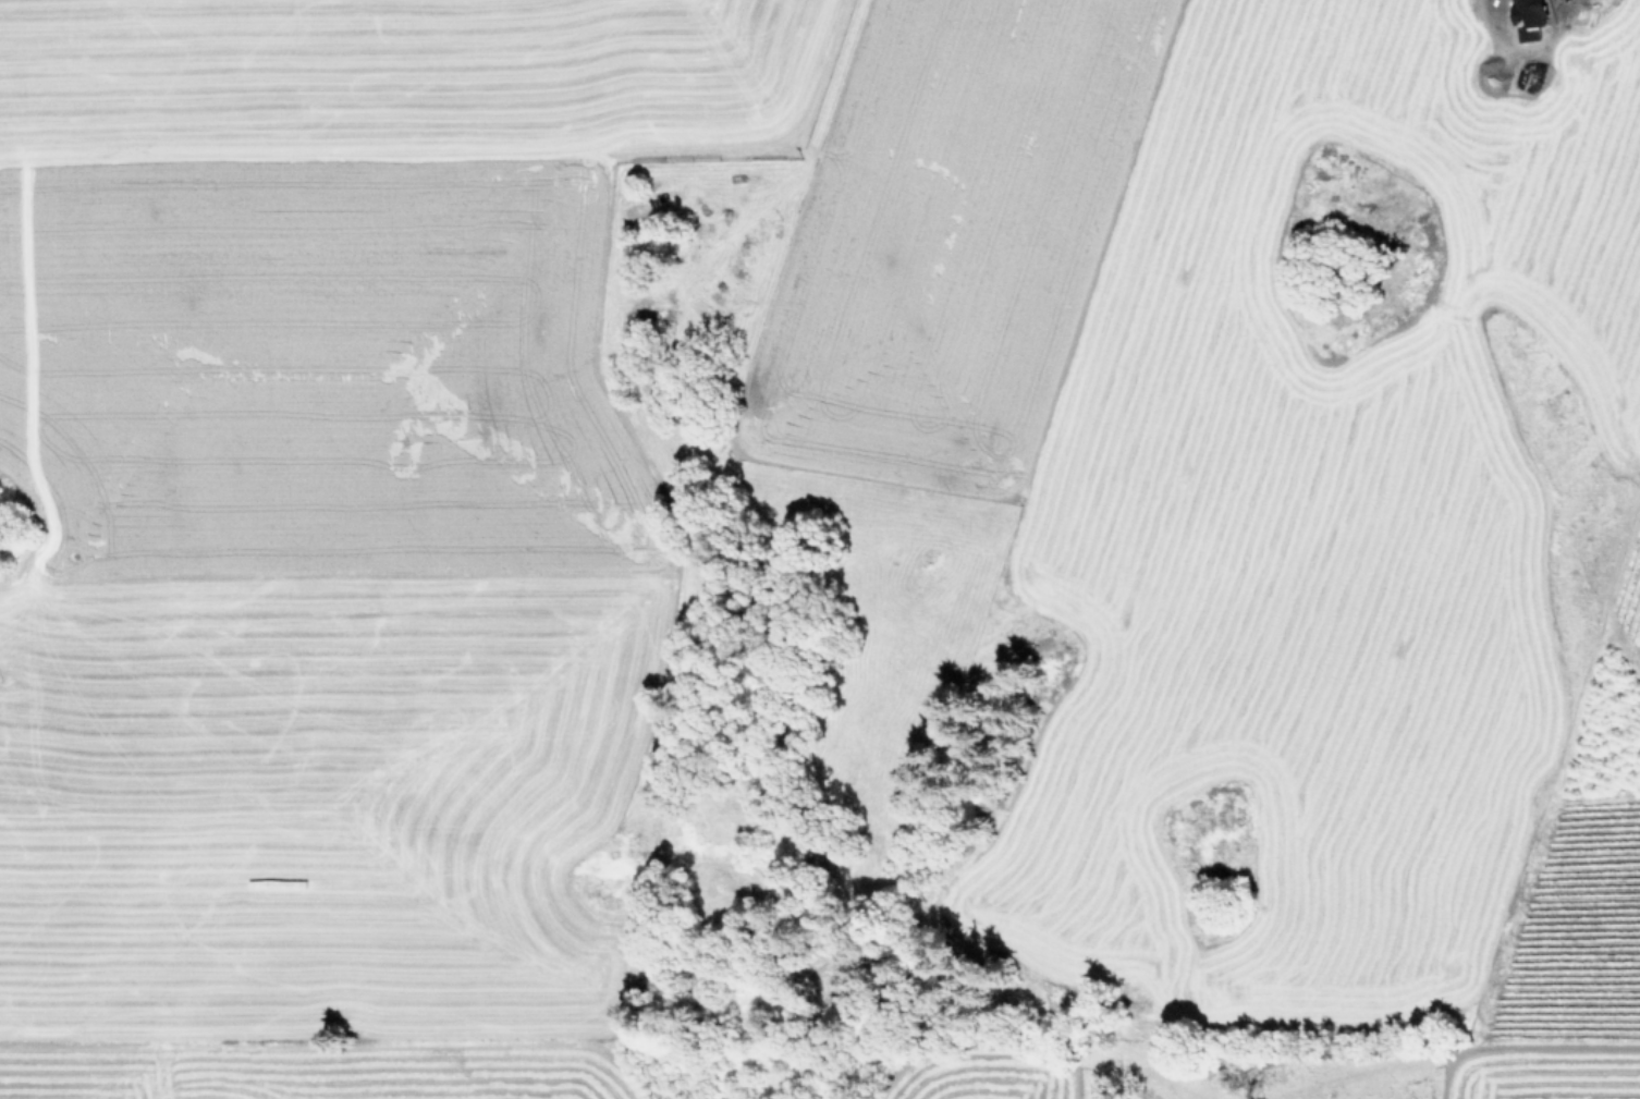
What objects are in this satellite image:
crop: (828, 517)

